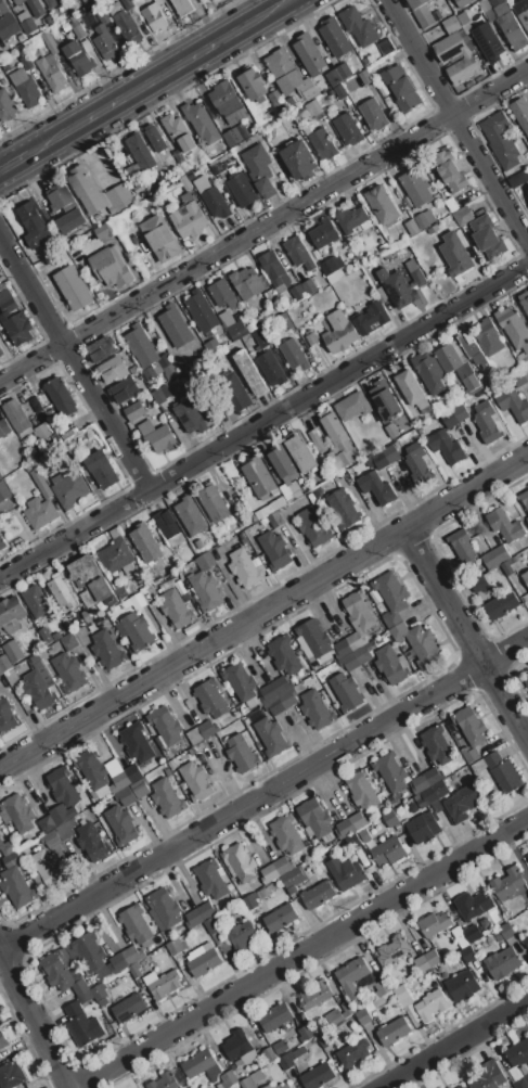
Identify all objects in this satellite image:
building: (207, 0)
building: (210, 0)
building: (87, 1)
building: (54, 2)
building: (416, 2)
building: (462, 3)
building: (128, 4)
building: (31, 7)
building: (182, 7)
building: (3, 8)
building: (521, 12)
building: (436, 15)
building: (103, 16)
building: (423, 16)
building: (154, 17)
building: (26, 22)
building: (126, 23)
building: (451, 24)
building: (8, 26)
building: (359, 26)
building: (510, 26)
building: (77, 27)
building: (435, 30)
building: (112, 31)
building: (335, 37)
building: (50, 41)
building: (488, 42)
building: (104, 43)
building: (87, 44)
building: (387, 46)
building: (309, 54)
building: (78, 59)
building: (466, 61)
building: (27, 62)
building: (284, 71)
building: (344, 71)
building: (52, 73)
road: (157, 77)
building: (333, 77)
building: (365, 77)
building: (252, 86)
building: (25, 87)
building: (400, 88)
building: (308, 89)
building: (339, 91)
building: (274, 97)
building: (291, 101)
building: (226, 103)
building: (5, 106)
building: (308, 111)
building: (520, 113)
building: (373, 114)
road: (456, 120)
building: (202, 124)
building: (348, 128)
building: (179, 132)
building: (232, 137)
building: (155, 138)
building: (500, 141)
building: (322, 144)
building: (141, 152)
building: (178, 155)
building: (299, 159)
road: (13, 162)
building: (221, 163)
building: (259, 169)
building: (449, 171)
building: (190, 176)
building: (185, 182)
building: (415, 188)
building: (527, 189)
building: (242, 190)
building: (98, 193)
building: (216, 202)
building: (449, 202)
building: (383, 205)
road: (296, 206)
building: (65, 207)
building: (463, 215)
building: (190, 216)
building: (351, 219)
building: (424, 219)
building: (33, 223)
building: (412, 227)
building: (105, 230)
building: (323, 233)
building: (160, 236)
building: (487, 236)
building: (384, 247)
building: (299, 253)
building: (401, 254)
building: (387, 256)
building: (455, 257)
building: (332, 265)
building: (111, 266)
building: (0, 269)
building: (274, 270)
building: (0, 277)
building: (247, 282)
building: (402, 283)
building: (308, 286)
building: (74, 287)
building: (221, 292)
building: (297, 292)
building: (272, 298)
building: (524, 300)
building: (201, 313)
building: (13, 317)
building: (371, 319)
building: (227, 320)
building: (285, 321)
building: (176, 325)
building: (514, 329)
building: (339, 332)
building: (487, 336)
building: (261, 337)
building: (311, 338)
building: (141, 346)
building: (211, 346)
building: (472, 348)
building: (101, 349)
building: (1, 353)
building: (293, 354)
building: (520, 356)
road: (74, 360)
road: (31, 362)
building: (456, 364)
building: (271, 368)
building: (132, 369)
building: (112, 370)
building: (171, 372)
building: (429, 372)
building: (250, 373)
building: (520, 374)
building: (124, 389)
building: (233, 392)
building: (412, 392)
building: (462, 394)
building: (158, 395)
building: (60, 397)
building: (455, 399)
building: (385, 400)
building: (513, 404)
building: (352, 406)
building: (437, 407)
building: (134, 411)
building: (454, 414)
building: (190, 415)
building: (17, 417)
road: (263, 421)
building: (487, 423)
building: (3, 427)
building: (145, 427)
building: (42, 431)
building: (391, 431)
building: (162, 439)
building: (338, 439)
building: (317, 440)
building: (447, 447)
building: (300, 453)
building: (390, 453)
building: (379, 460)
building: (370, 462)
building: (283, 463)
building: (416, 463)
building: (101, 469)
building: (260, 478)
building: (41, 484)
building: (377, 487)
building: (68, 488)
building: (3, 490)
building: (286, 492)
building: (524, 499)
building: (213, 502)
building: (278, 503)
building: (260, 508)
building: (343, 508)
building: (39, 512)
building: (191, 515)
building: (239, 517)
building: (256, 517)
building: (275, 519)
building: (527, 520)
building: (263, 521)
building: (312, 524)
building: (504, 524)
building: (169, 528)
building: (145, 542)
building: (2, 543)
building: (462, 546)
building: (274, 550)
building: (495, 556)
building: (117, 558)
building: (205, 561)
building: (506, 566)
building: (244, 567)
building: (525, 577)
building: (91, 581)
building: (480, 584)
building: (390, 589)
building: (181, 590)
building: (206, 590)
building: (62, 592)
building: (121, 592)
building: (192, 594)
building: (36, 601)
building: (501, 604)
building: (176, 609)
building: (359, 609)
building: (11, 614)
road: (263, 614)
building: (390, 618)
building: (137, 630)
building: (398, 630)
building: (44, 635)
road: (465, 635)
building: (57, 636)
building: (313, 637)
building: (72, 640)
building: (349, 644)
building: (423, 645)
building: (107, 650)
building: (13, 651)
building: (286, 654)
building: (356, 658)
building: (4, 664)
building: (391, 664)
building: (69, 671)
building: (526, 680)
building: (241, 683)
building: (38, 684)
building: (274, 689)
building: (346, 691)
building: (210, 697)
building: (281, 701)
building: (315, 709)
building: (7, 716)
building: (165, 725)
building: (471, 725)
building: (207, 729)
building: (194, 735)
building: (270, 735)
building: (136, 742)
building: (437, 745)
building: (166, 753)
building: (242, 754)
building: (472, 755)
building: (492, 758)
building: (171, 764)
building: (478, 765)
building: (93, 769)
building: (390, 771)
building: (434, 776)
building: (507, 777)
building: (125, 778)
building: (196, 780)
building: (420, 783)
building: (63, 786)
building: (140, 786)
building: (439, 789)
building: (362, 791)
building: (125, 796)
road: (263, 796)
building: (167, 797)
building: (425, 797)
building: (462, 803)
building: (413, 808)
building: (18, 814)
building: (57, 815)
building: (391, 818)
building: (315, 819)
building: (358, 821)
building: (47, 823)
building: (121, 825)
building: (423, 825)
building: (65, 829)
building: (344, 829)
building: (285, 834)
building: (364, 836)
building: (50, 839)
building: (92, 842)
building: (1, 843)
building: (9, 847)
building: (387, 850)
building: (527, 857)
building: (13, 858)
building: (239, 862)
building: (282, 865)
building: (47, 869)
building: (345, 872)
building: (268, 873)
building: (293, 876)
building: (209, 880)
building: (506, 883)
building: (16, 887)
building: (318, 894)
building: (250, 900)
building: (473, 905)
building: (164, 909)
building: (207, 910)
building: (281, 917)
building: (193, 919)
building: (214, 923)
building: (434, 923)
building: (134, 925)
building: (503, 932)
building: (472, 933)
building: (242, 935)
building: (459, 936)
building: (526, 942)
building: (177, 945)
building: (88, 948)
building: (392, 950)
building: (467, 952)
road: (302, 953)
building: (131, 955)
building: (432, 957)
building: (117, 962)
building: (205, 962)
building: (421, 963)
building: (502, 963)
building: (56, 969)
building: (134, 969)
building: (351, 976)
building: (162, 984)
building: (462, 985)
building: (383, 987)
building: (81, 991)
building: (98, 993)
building: (403, 996)
building: (307, 1000)
building: (432, 1004)
building: (128, 1008)
building: (346, 1009)
building: (334, 1015)
building: (275, 1016)
building: (363, 1016)
road: (35, 1021)
building: (81, 1025)
building: (394, 1032)
building: (3, 1039)
building: (323, 1039)
road: (453, 1044)
building: (239, 1048)
building: (353, 1052)
building: (518, 1052)
building: (268, 1054)
building: (285, 1061)
building: (199, 1063)
building: (11, 1075)
building: (317, 1076)
building: (489, 1076)
building: (228, 1078)
building: (168, 1079)
building: (252, 1079)
building: (519, 1083)
building: (267, 1086)
building: (282, 1086)
building: (450, 1087)
building: (458, 1087)

